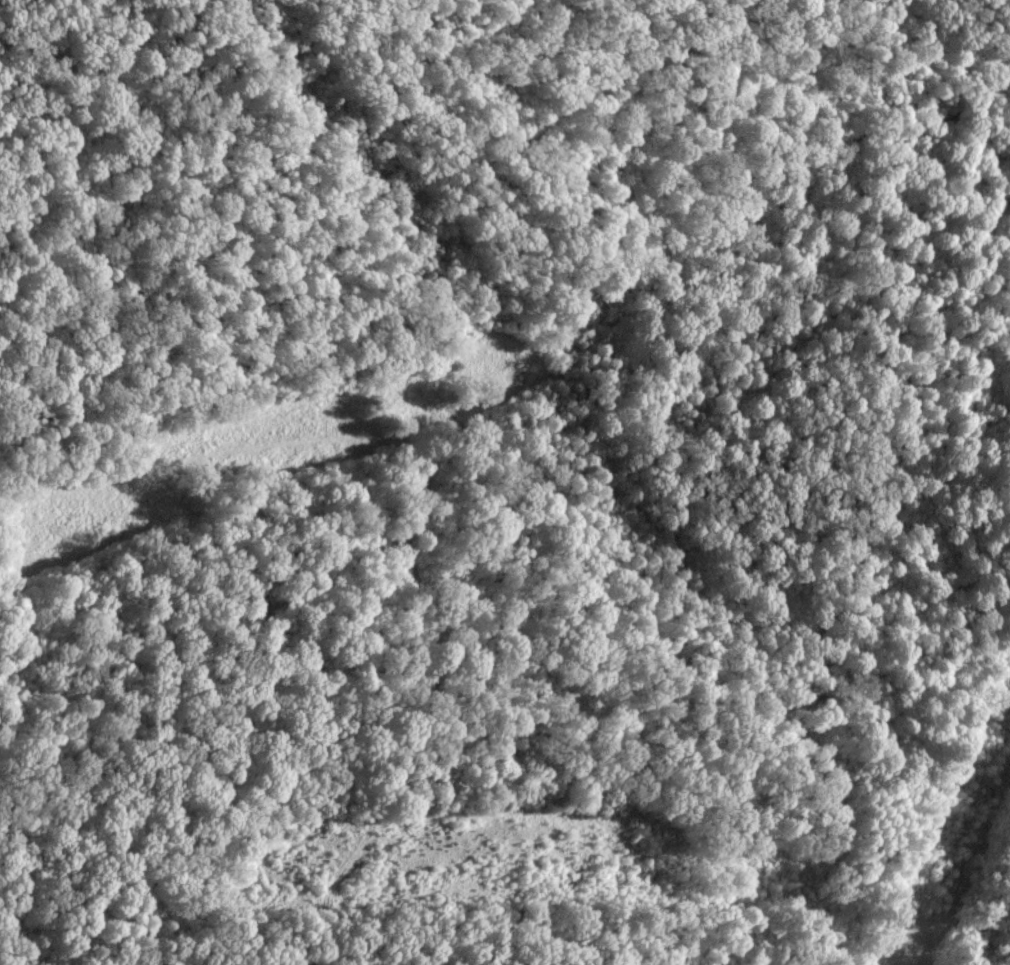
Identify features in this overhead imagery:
road: (211, 69)

